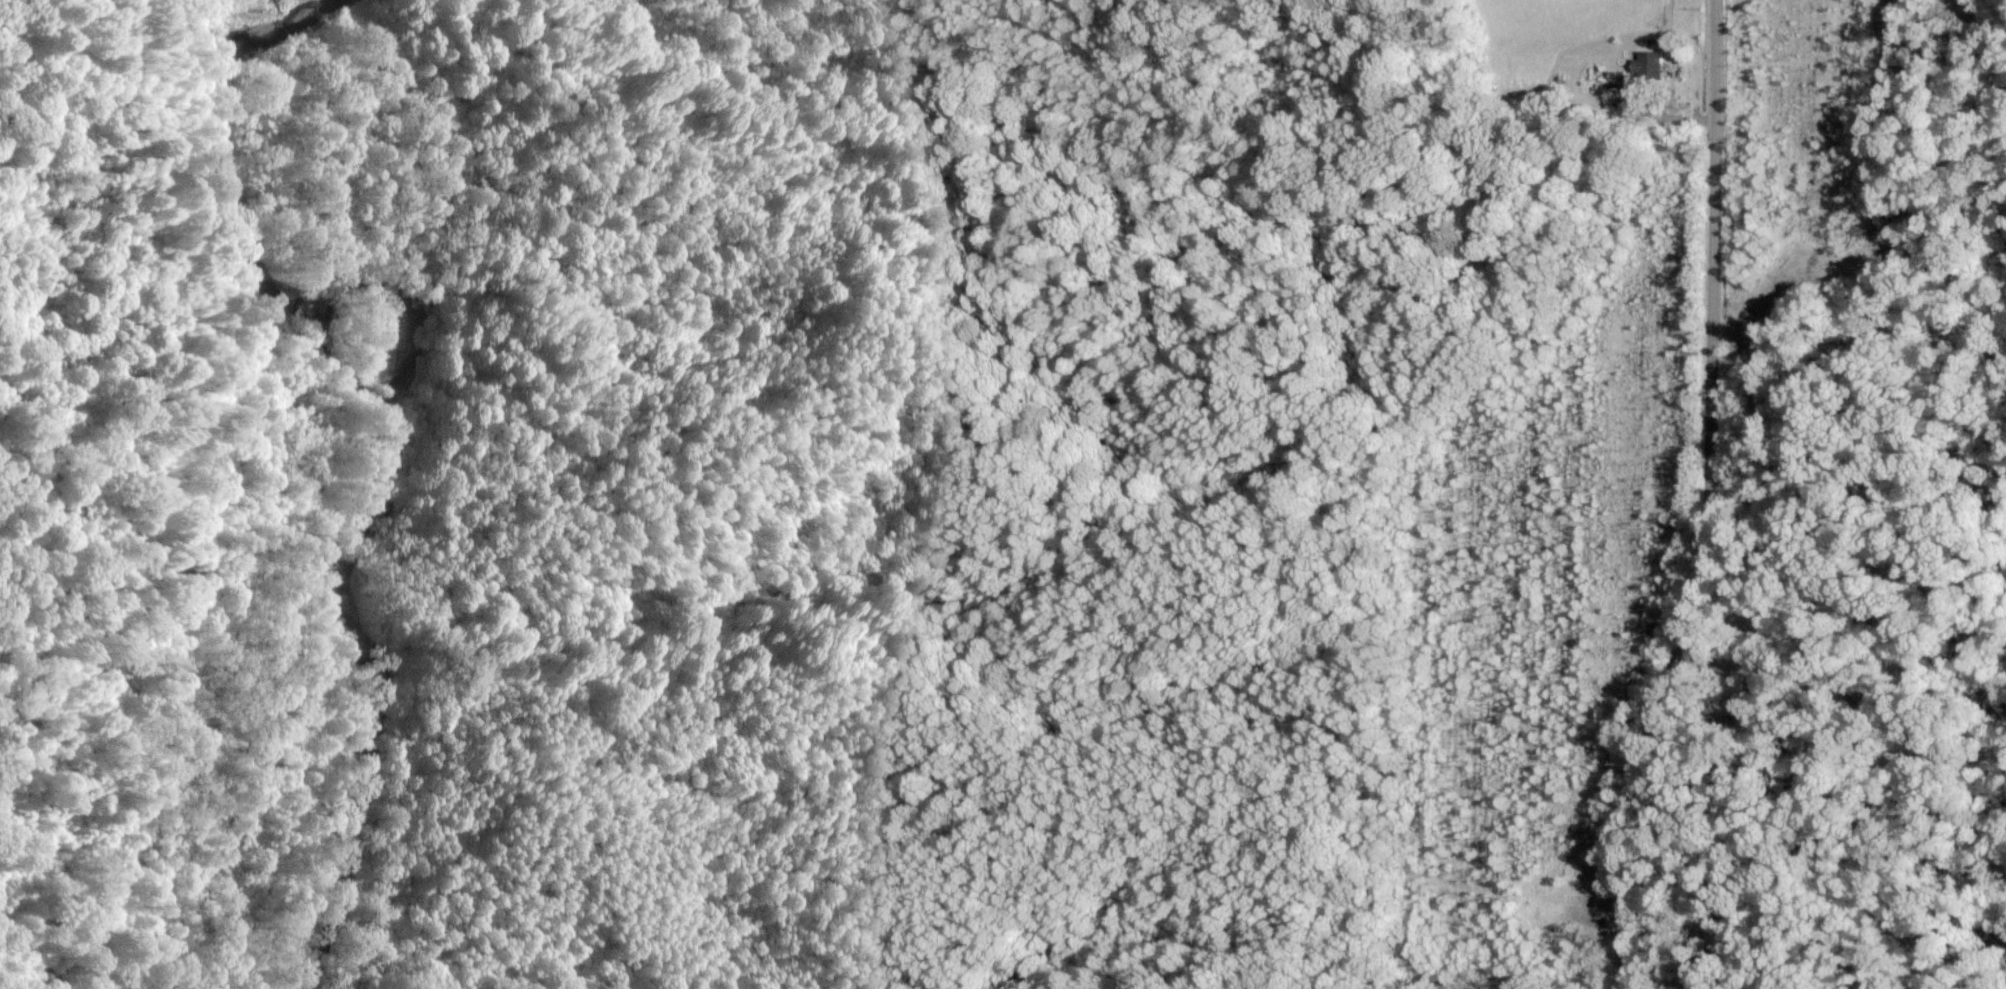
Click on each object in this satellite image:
building: (1648, 64)
road: (1706, 501)

